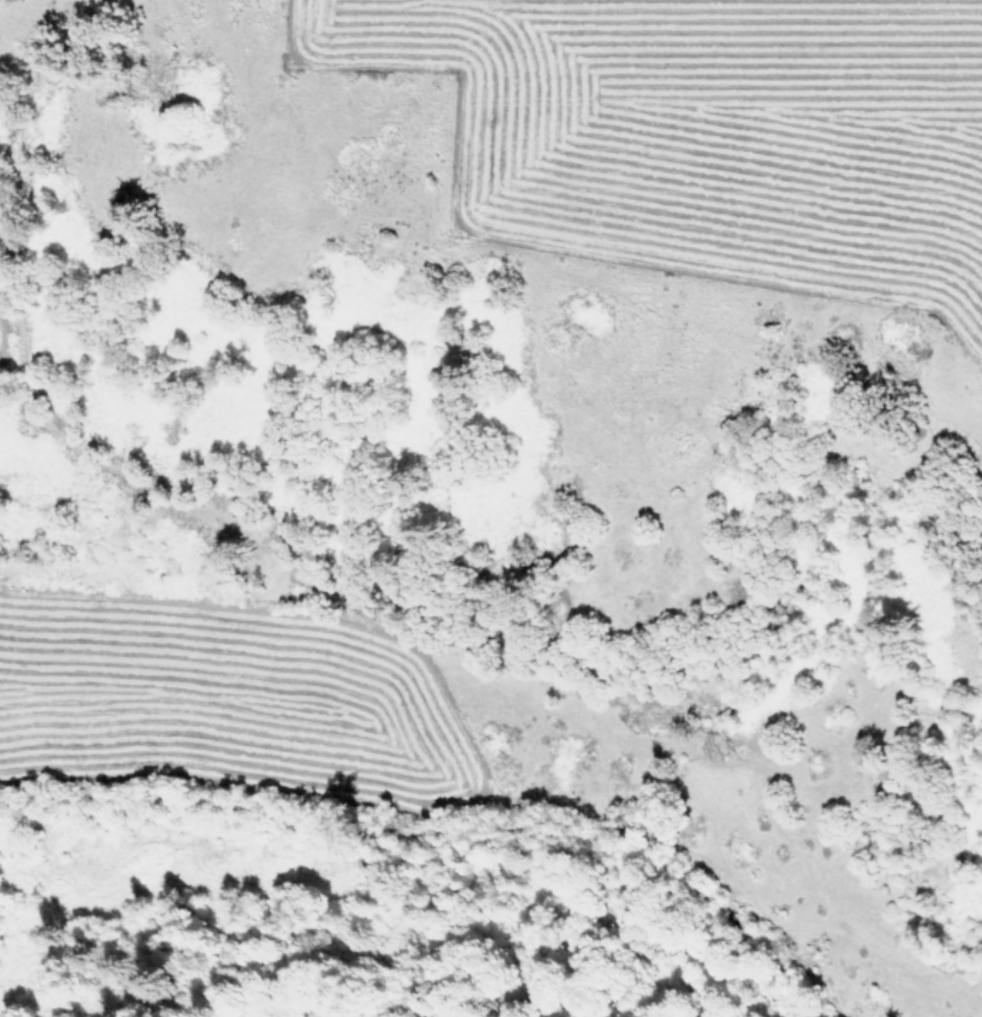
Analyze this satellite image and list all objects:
crop: (698, 152)
river: (513, 822)

